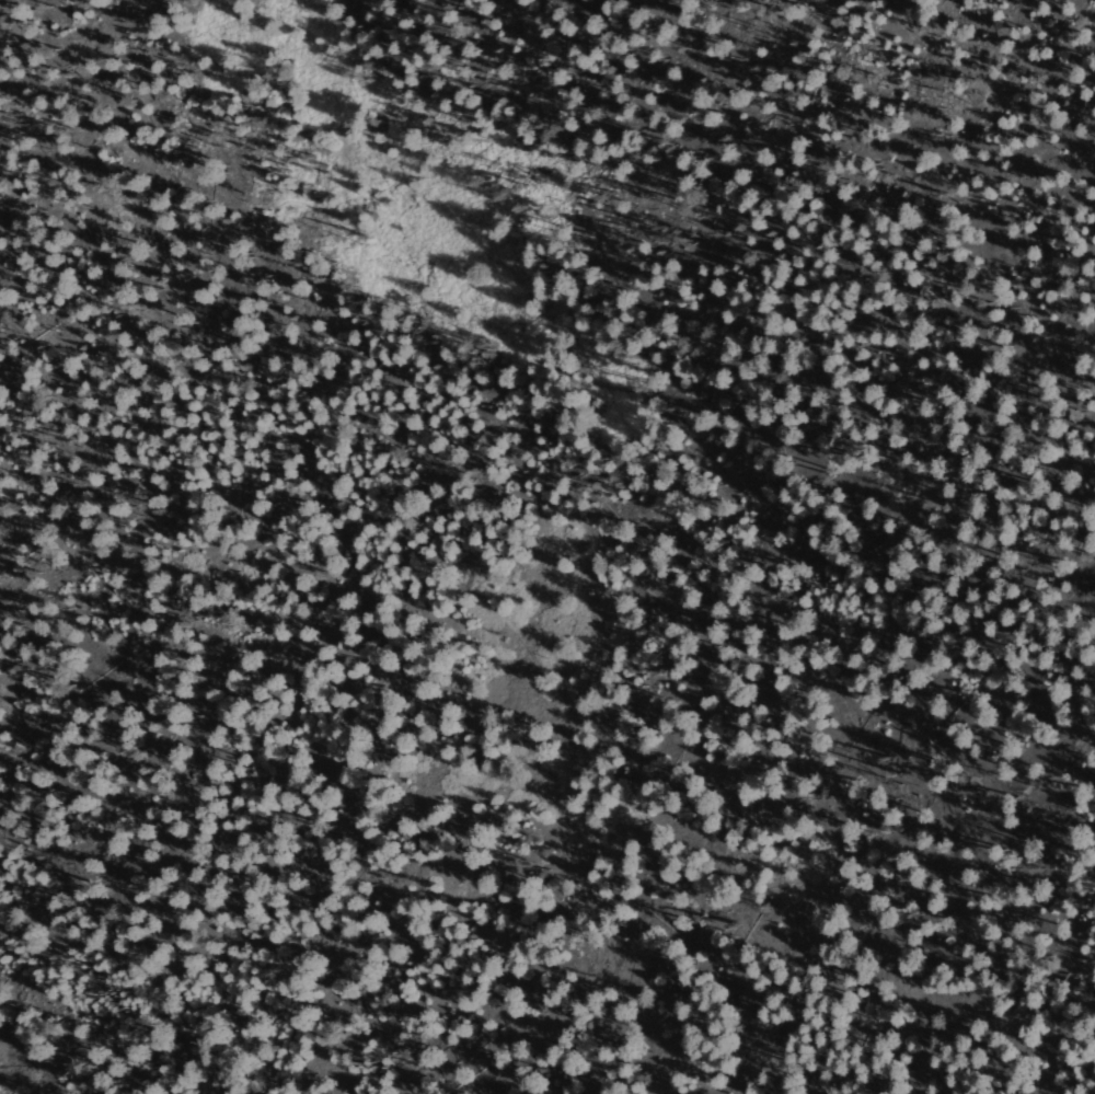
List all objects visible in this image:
road: (289, 200)

